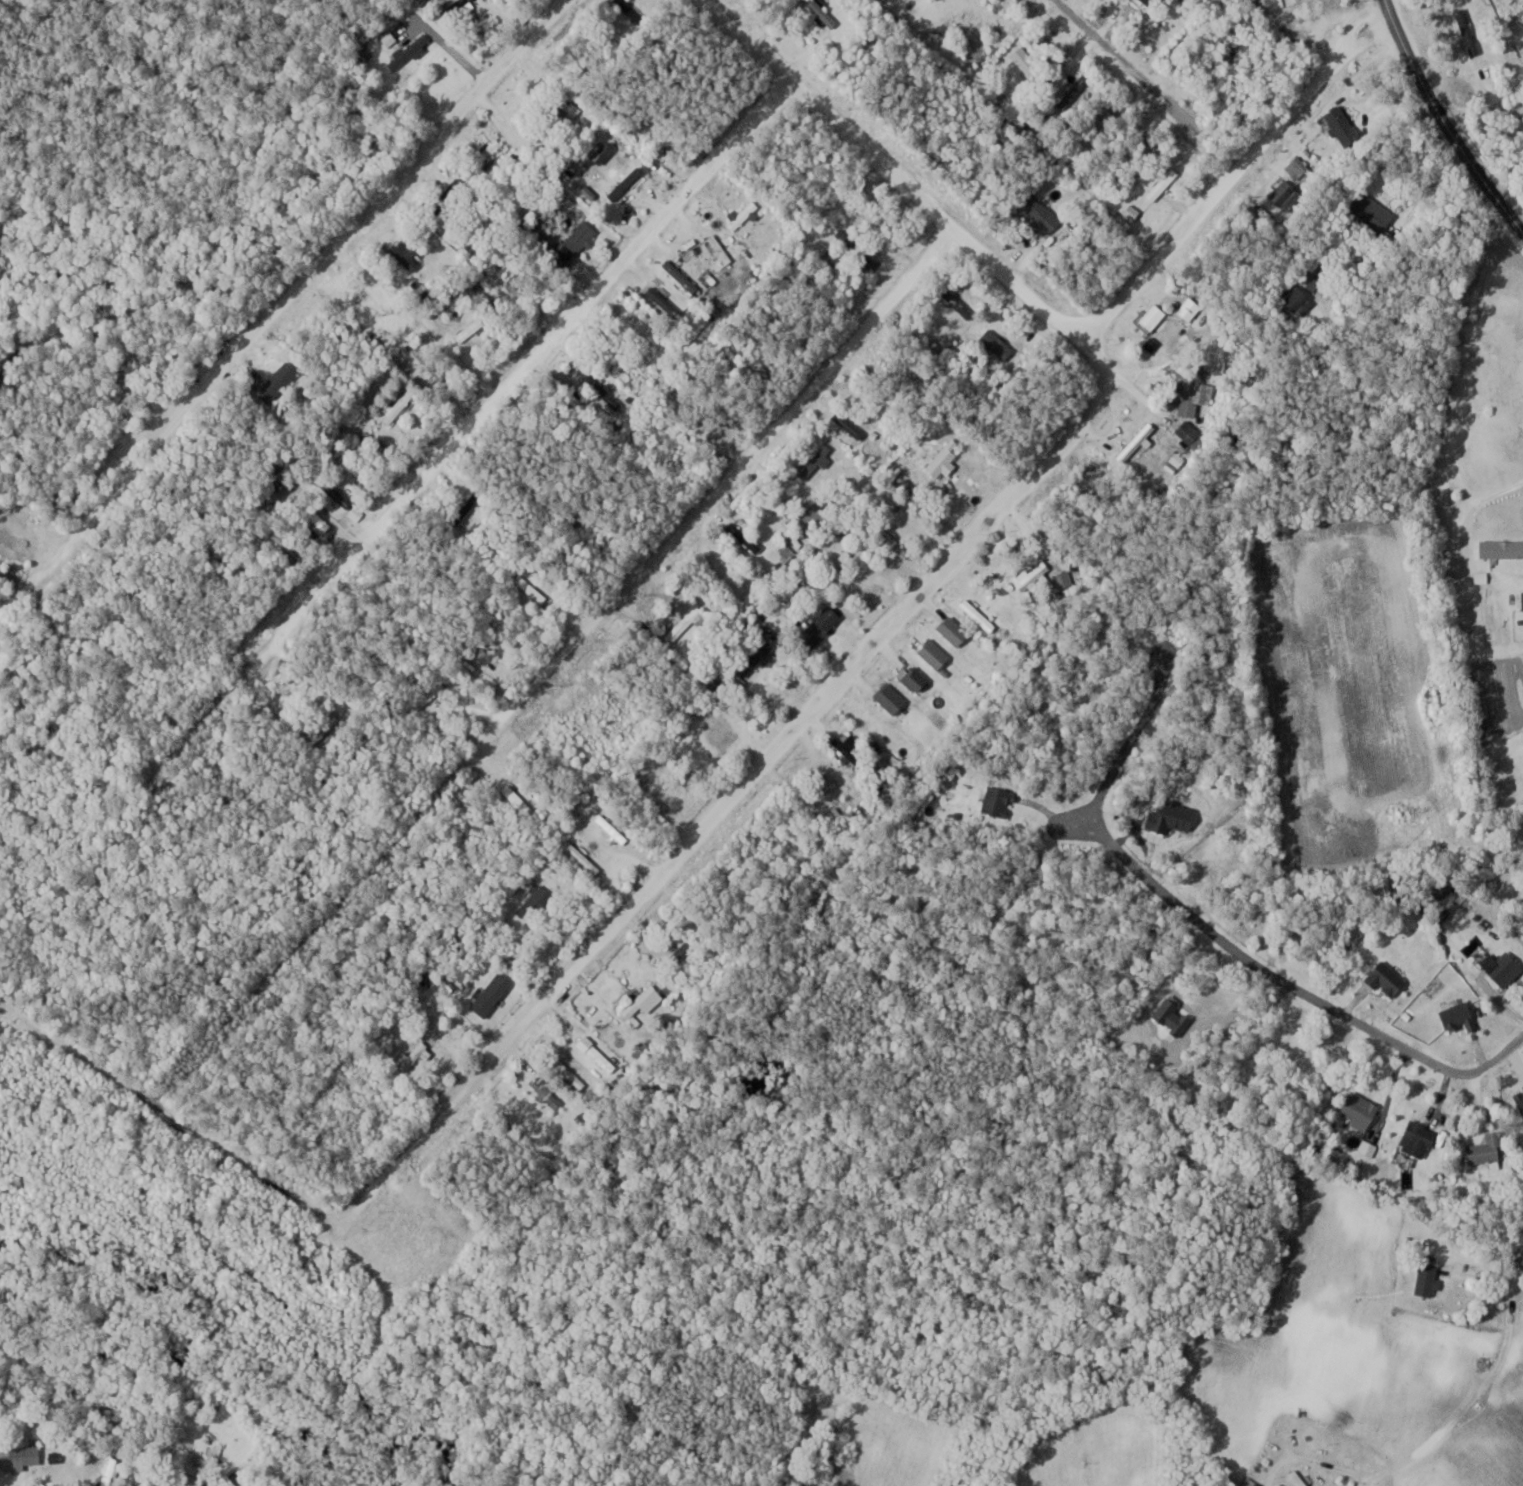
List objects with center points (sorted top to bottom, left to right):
building: (466, 1)
building: (633, 10)
building: (823, 12)
building: (971, 30)
building: (1468, 30)
building: (411, 53)
building: (1027, 61)
road: (1147, 82)
building: (1075, 92)
road: (1490, 110)
building: (1103, 118)
road: (1444, 122)
building: (1344, 125)
building: (530, 126)
building: (604, 152)
building: (488, 153)
road: (889, 170)
road: (1232, 171)
building: (626, 183)
building: (1163, 184)
building: (1288, 195)
building: (1375, 211)
building: (1042, 212)
building: (742, 215)
building: (577, 242)
building: (720, 248)
building: (408, 252)
building: (682, 276)
building: (1297, 297)
building: (663, 299)
building: (959, 304)
road: (280, 306)
building: (1152, 316)
building: (471, 329)
building: (645, 329)
building: (998, 344)
building: (598, 388)
building: (1196, 390)
building: (399, 405)
building: (851, 426)
building: (1192, 434)
building: (369, 441)
building: (1138, 443)
road: (440, 459)
building: (817, 462)
building: (357, 469)
building: (338, 494)
building: (819, 514)
building: (315, 517)
building: (289, 544)
building: (1502, 548)
building: (1035, 576)
building: (1064, 579)
building: (532, 589)
road: (600, 613)
building: (689, 625)
building: (821, 626)
building: (954, 630)
building: (758, 653)
building: (935, 654)
building: (917, 679)
building: (714, 685)
building: (431, 696)
building: (892, 698)
road: (758, 770)
building: (836, 792)
building: (999, 801)
building: (612, 828)
building: (582, 857)
building: (533, 899)
road: (1212, 934)
building: (1506, 969)
building: (1387, 981)
building: (645, 1001)
building: (641, 1051)
building: (413, 1056)
building: (601, 1058)
building: (568, 1073)
building: (1519, 1097)
building: (1360, 1109)
building: (1419, 1140)
building: (1488, 1150)
building: (1429, 1280)
road: (1495, 1370)
building: (20, 1457)
building: (1299, 1478)
building: (198, 1483)

